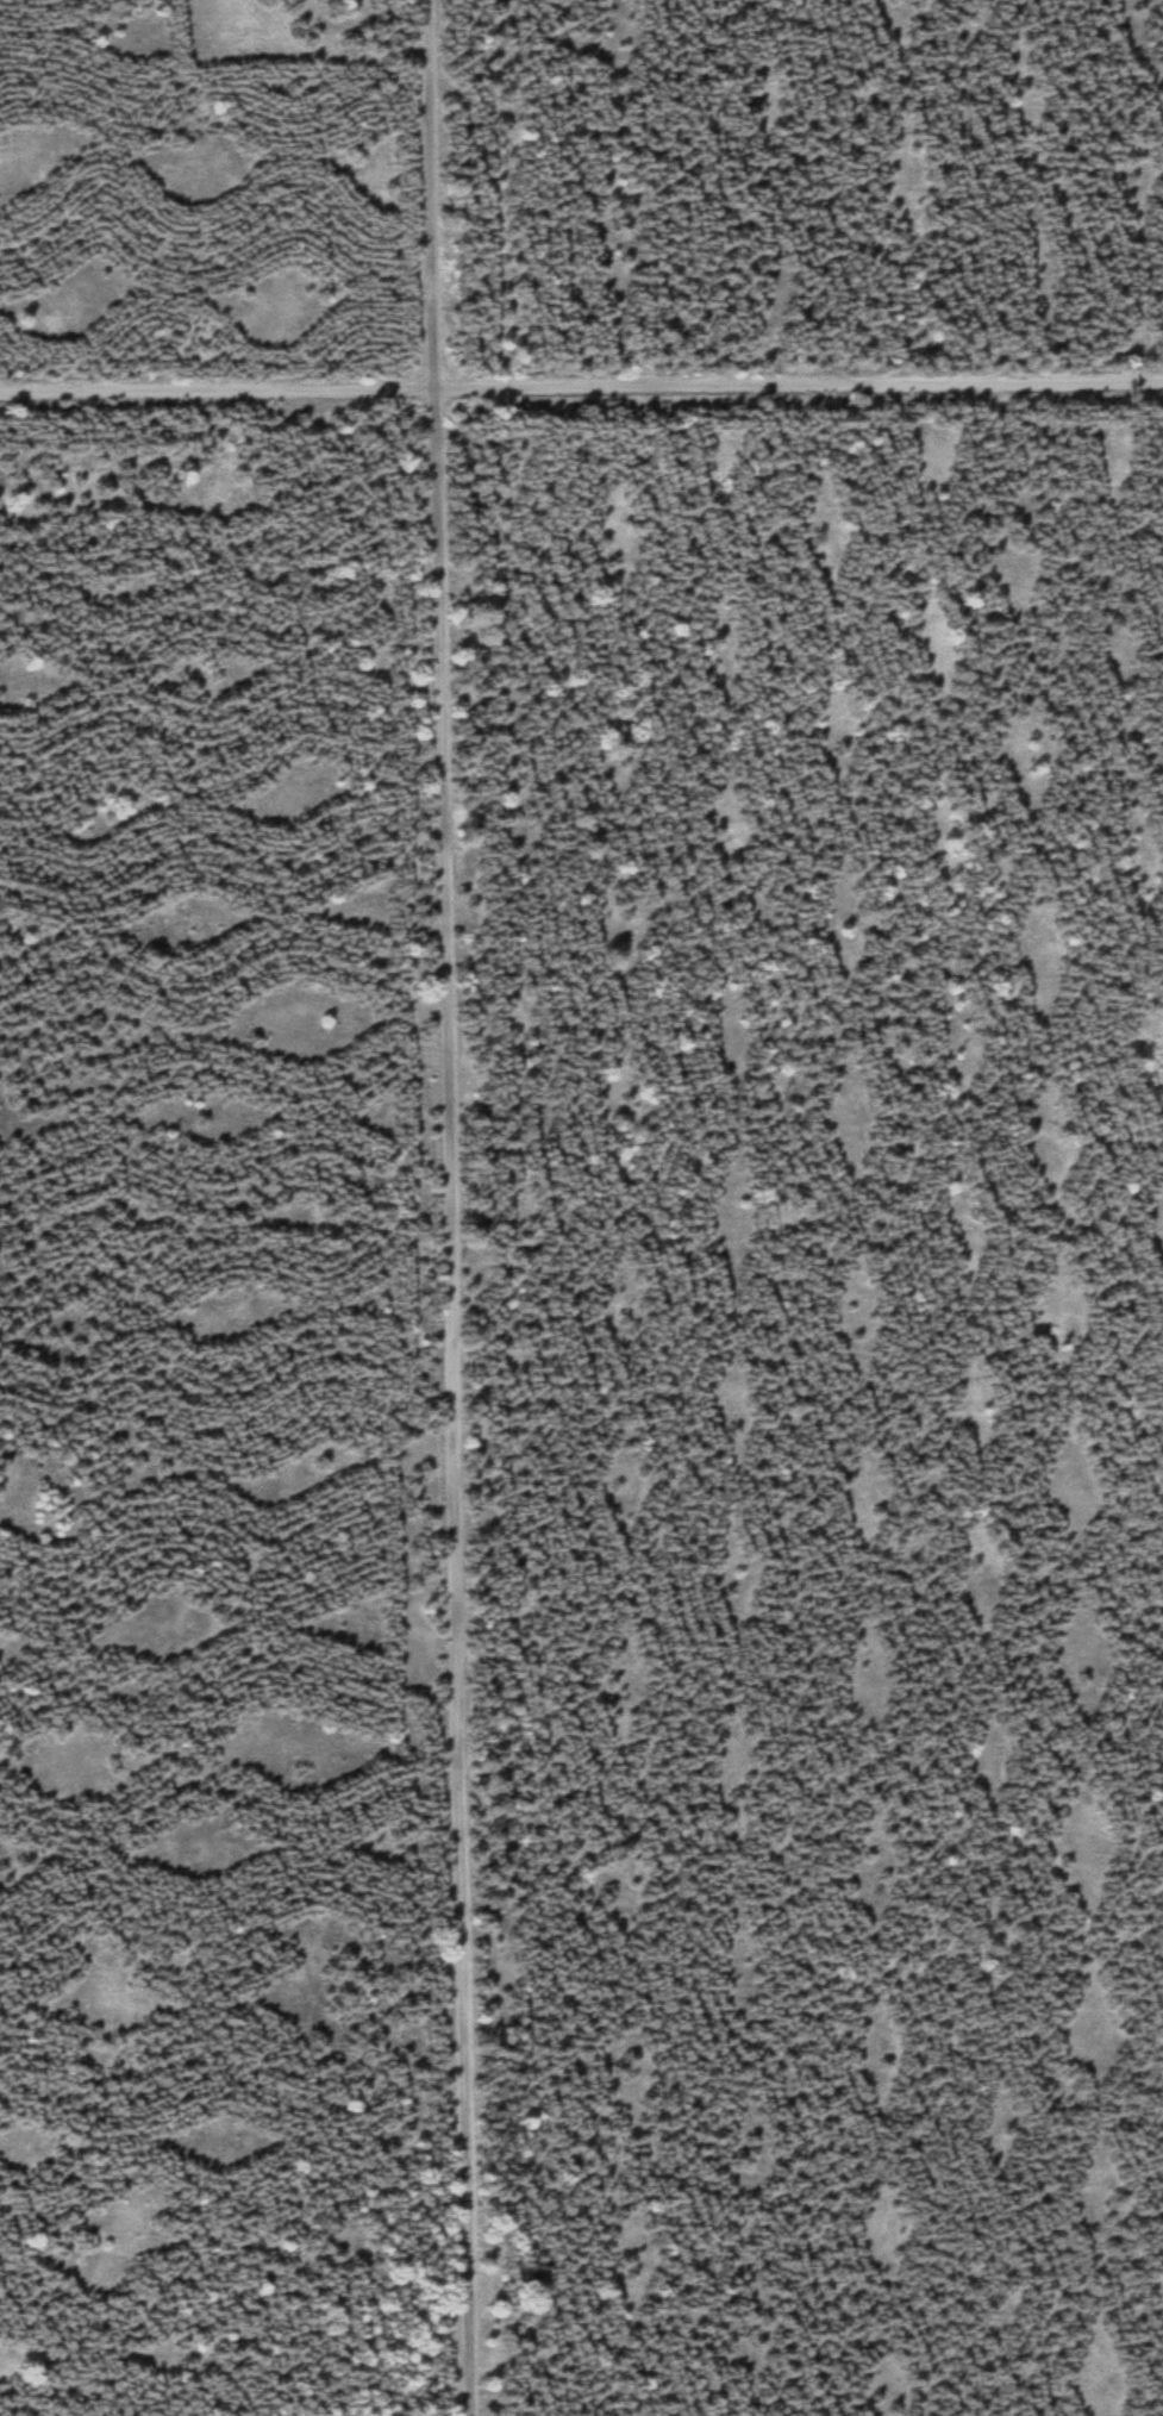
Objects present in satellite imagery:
park: (285, 33)
road: (581, 388)
road: (454, 1207)

